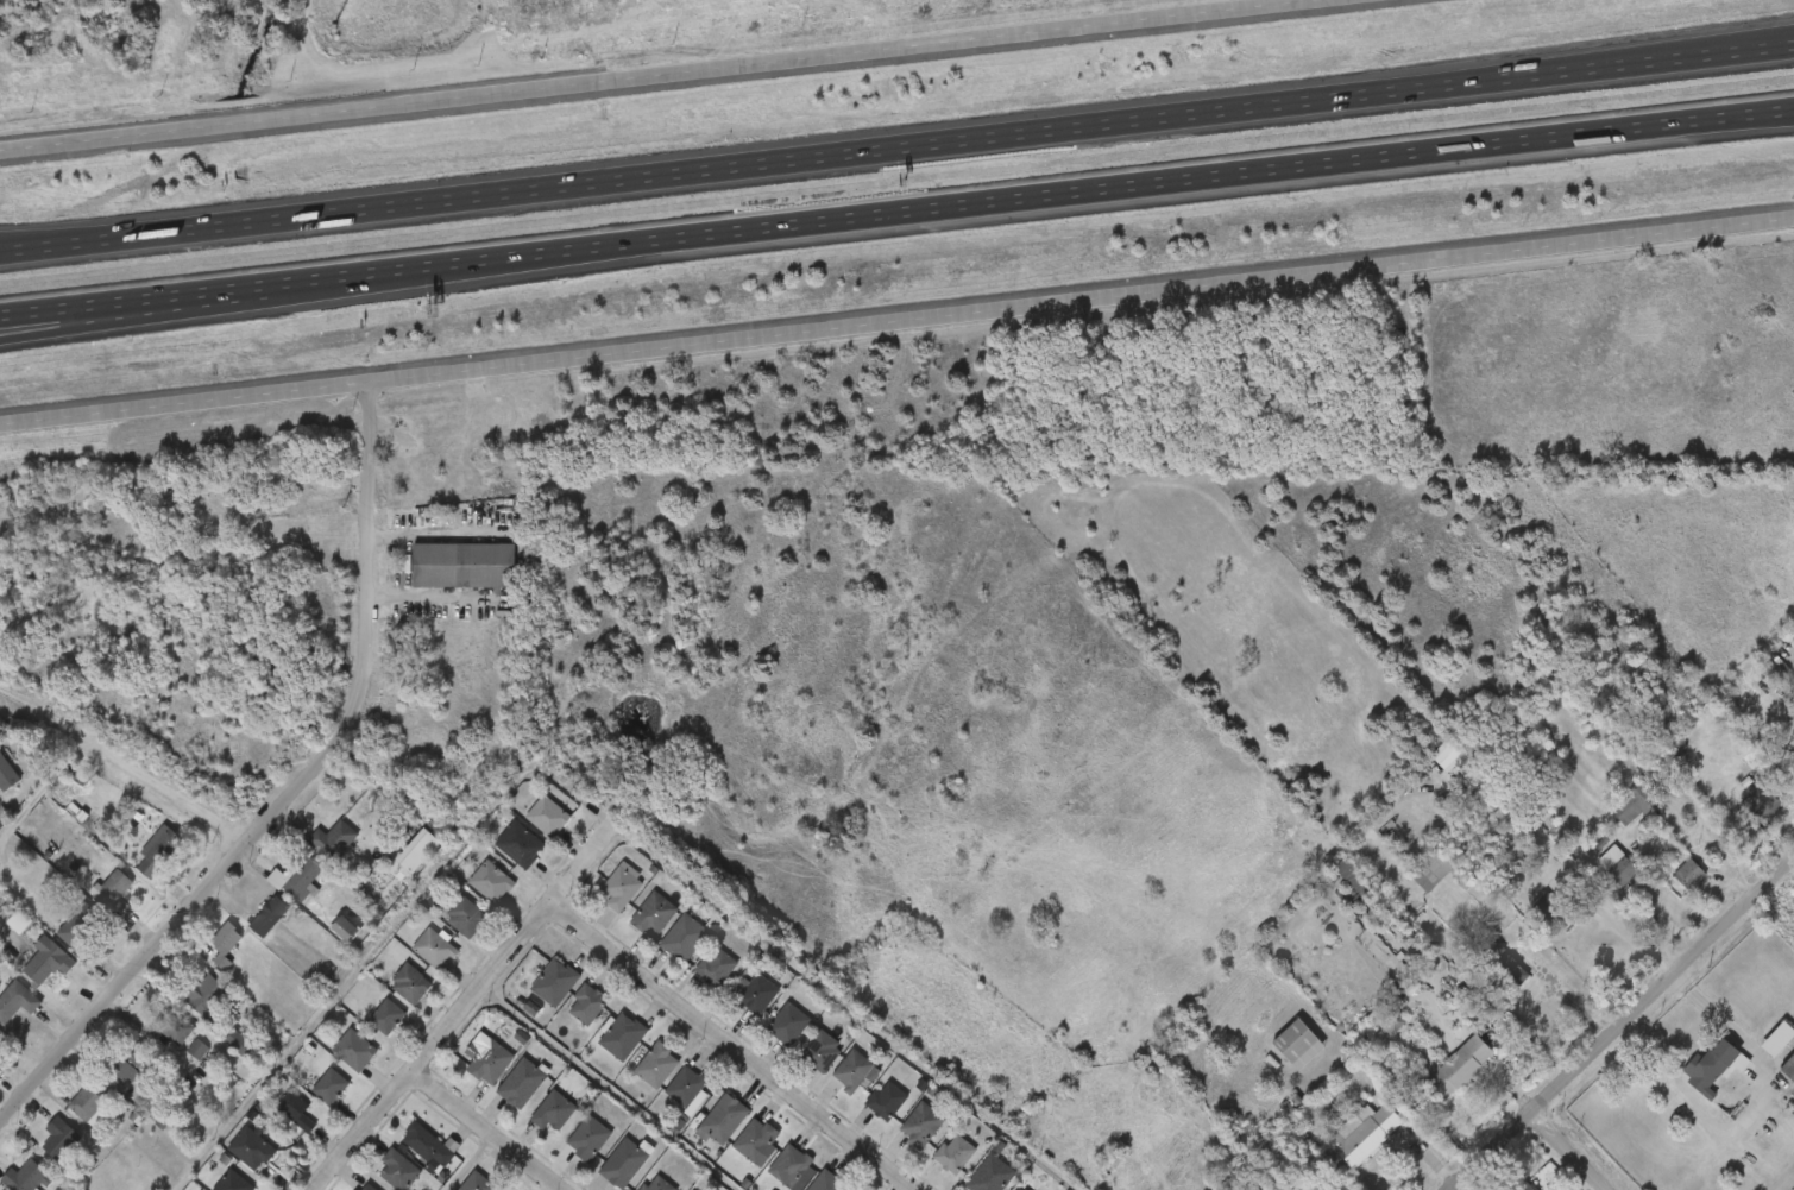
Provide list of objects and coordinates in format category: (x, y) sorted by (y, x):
road: (1735, 42)
road: (1735, 48)
road: (667, 76)
road: (1706, 118)
road: (1706, 124)
road: (914, 145)
road: (931, 207)
road: (76, 233)
road: (76, 241)
road: (121, 301)
road: (121, 315)
road: (896, 320)
building: (462, 565)
building: (8, 772)
road: (36, 792)
road: (290, 792)
road: (153, 797)
building: (1760, 804)
building: (1634, 805)
road: (584, 813)
building: (550, 816)
building: (525, 829)
building: (336, 838)
building: (522, 844)
building: (422, 849)
building: (160, 850)
building: (311, 852)
building: (498, 856)
building: (137, 862)
building: (396, 863)
building: (1618, 865)
building: (1433, 867)
building: (1688, 874)
building: (301, 879)
building: (493, 881)
building: (624, 886)
building: (1361, 886)
building: (115, 892)
building: (276, 893)
building: (470, 894)
building: (600, 899)
building: (92, 903)
building: (1568, 912)
building: (656, 914)
building: (272, 915)
building: (470, 917)
building: (632, 926)
building: (82, 927)
building: (247, 928)
building: (445, 930)
building: (4, 933)
road: (1624, 933)
building: (688, 936)
building: (58, 938)
building: (323, 940)
building: (227, 943)
building: (438, 947)
building: (662, 950)
building: (203, 956)
building: (413, 959)
building: (51, 961)
building: (1500, 965)
building: (719, 968)
building: (26, 972)
building: (694, 978)
building: (413, 982)
building: (558, 982)
road: (1680, 982)
building: (533, 994)
building: (760, 994)
building: (389, 996)
road: (1563, 997)
building: (204, 999)
building: (18, 1001)
building: (591, 1003)
building: (734, 1005)
building: (185, 1010)
road: (458, 1012)
building: (390, 1015)
building: (566, 1016)
road: (1623, 1022)
building: (792, 1024)
building: (174, 1026)
building: (365, 1028)
building: (1, 1032)
road: (1536, 1032)
road: (1629, 1032)
building: (624, 1035)
building: (767, 1035)
building: (1777, 1038)
building: (155, 1040)
building: (1293, 1043)
building: (600, 1049)
road: (729, 1049)
building: (357, 1050)
building: (825, 1051)
building: (176, 1062)
building: (225, 1062)
building: (333, 1062)
building: (493, 1062)
building: (130, 1063)
building: (661, 1064)
building: (1712, 1066)
building: (1456, 1068)
building: (1789, 1068)
building: (858, 1070)
building: (467, 1072)
building: (108, 1075)
building: (635, 1077)
building: (525, 1083)
building: (333, 1085)
building: (692, 1089)
road: (602, 1090)
building: (501, 1096)
building: (309, 1098)
building: (666, 1101)
building: (890, 1101)
building: (89, 1103)
building: (556, 1110)
building: (298, 1112)
road: (1743, 1112)
building: (69, 1113)
building: (728, 1120)
building: (273, 1122)
building: (531, 1123)
building: (926, 1125)
road: (484, 1131)
building: (701, 1131)
building: (1361, 1134)
building: (62, 1138)
building: (592, 1138)
building: (758, 1140)
building: (430, 1144)
building: (253, 1147)
building: (567, 1150)
building: (39, 1151)
road: (1568, 1151)
building: (736, 1153)
building: (958, 1154)
building: (407, 1157)
building: (229, 1160)
building: (1118, 1160)
building: (629, 1161)
road: (470, 1163)
building: (797, 1167)
building: (402, 1170)
building: (995, 1171)
building: (29, 1177)
building: (235, 1182)
building: (830, 1182)
building: (480, 1183)
building: (661, 1185)
building: (210, 1186)
building: (454, 1186)
building: (1527, 1186)
building: (371, 1188)
building: (636, 1189)
building: (1020, 1189)
building: (1030, 1189)

